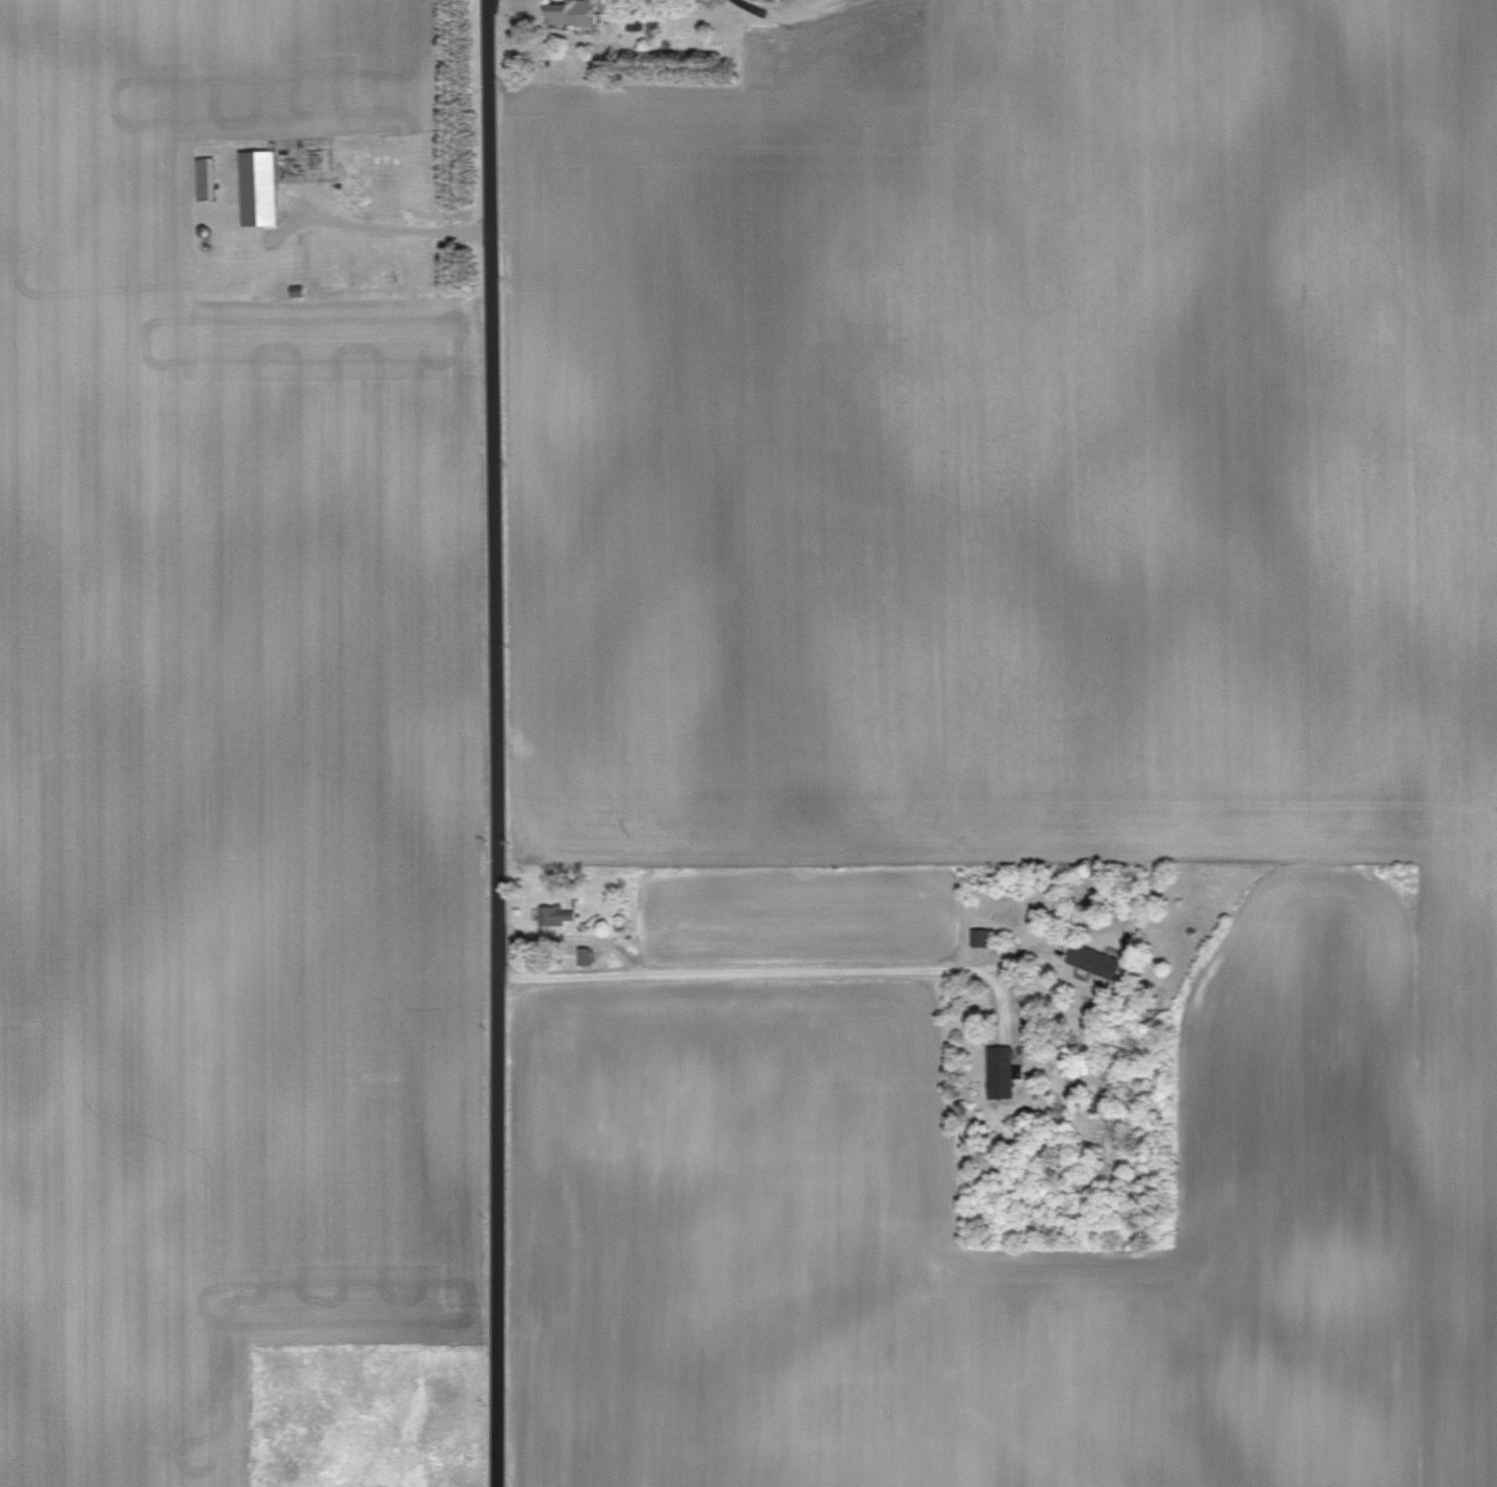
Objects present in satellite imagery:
building: (754, 0)
building: (771, 0)
building: (570, 12)
building: (204, 179)
building: (257, 189)
road: (387, 233)
road: (498, 743)
building: (554, 916)
road: (576, 938)
building: (979, 938)
building: (1093, 962)
road: (772, 971)
building: (999, 1072)

